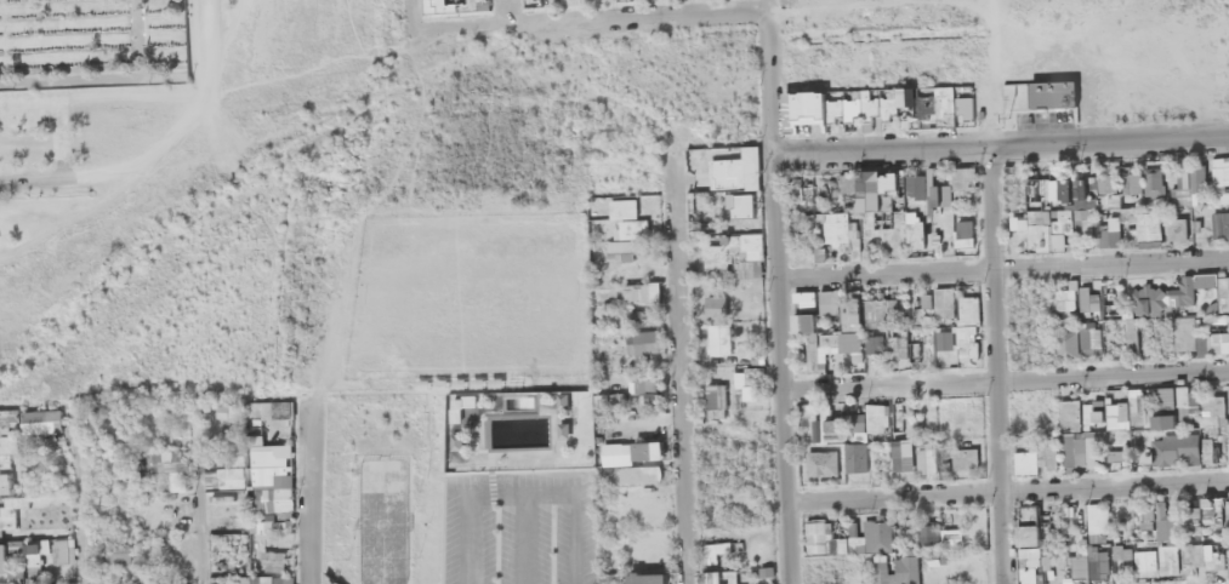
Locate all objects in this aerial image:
park: (89, 45)

